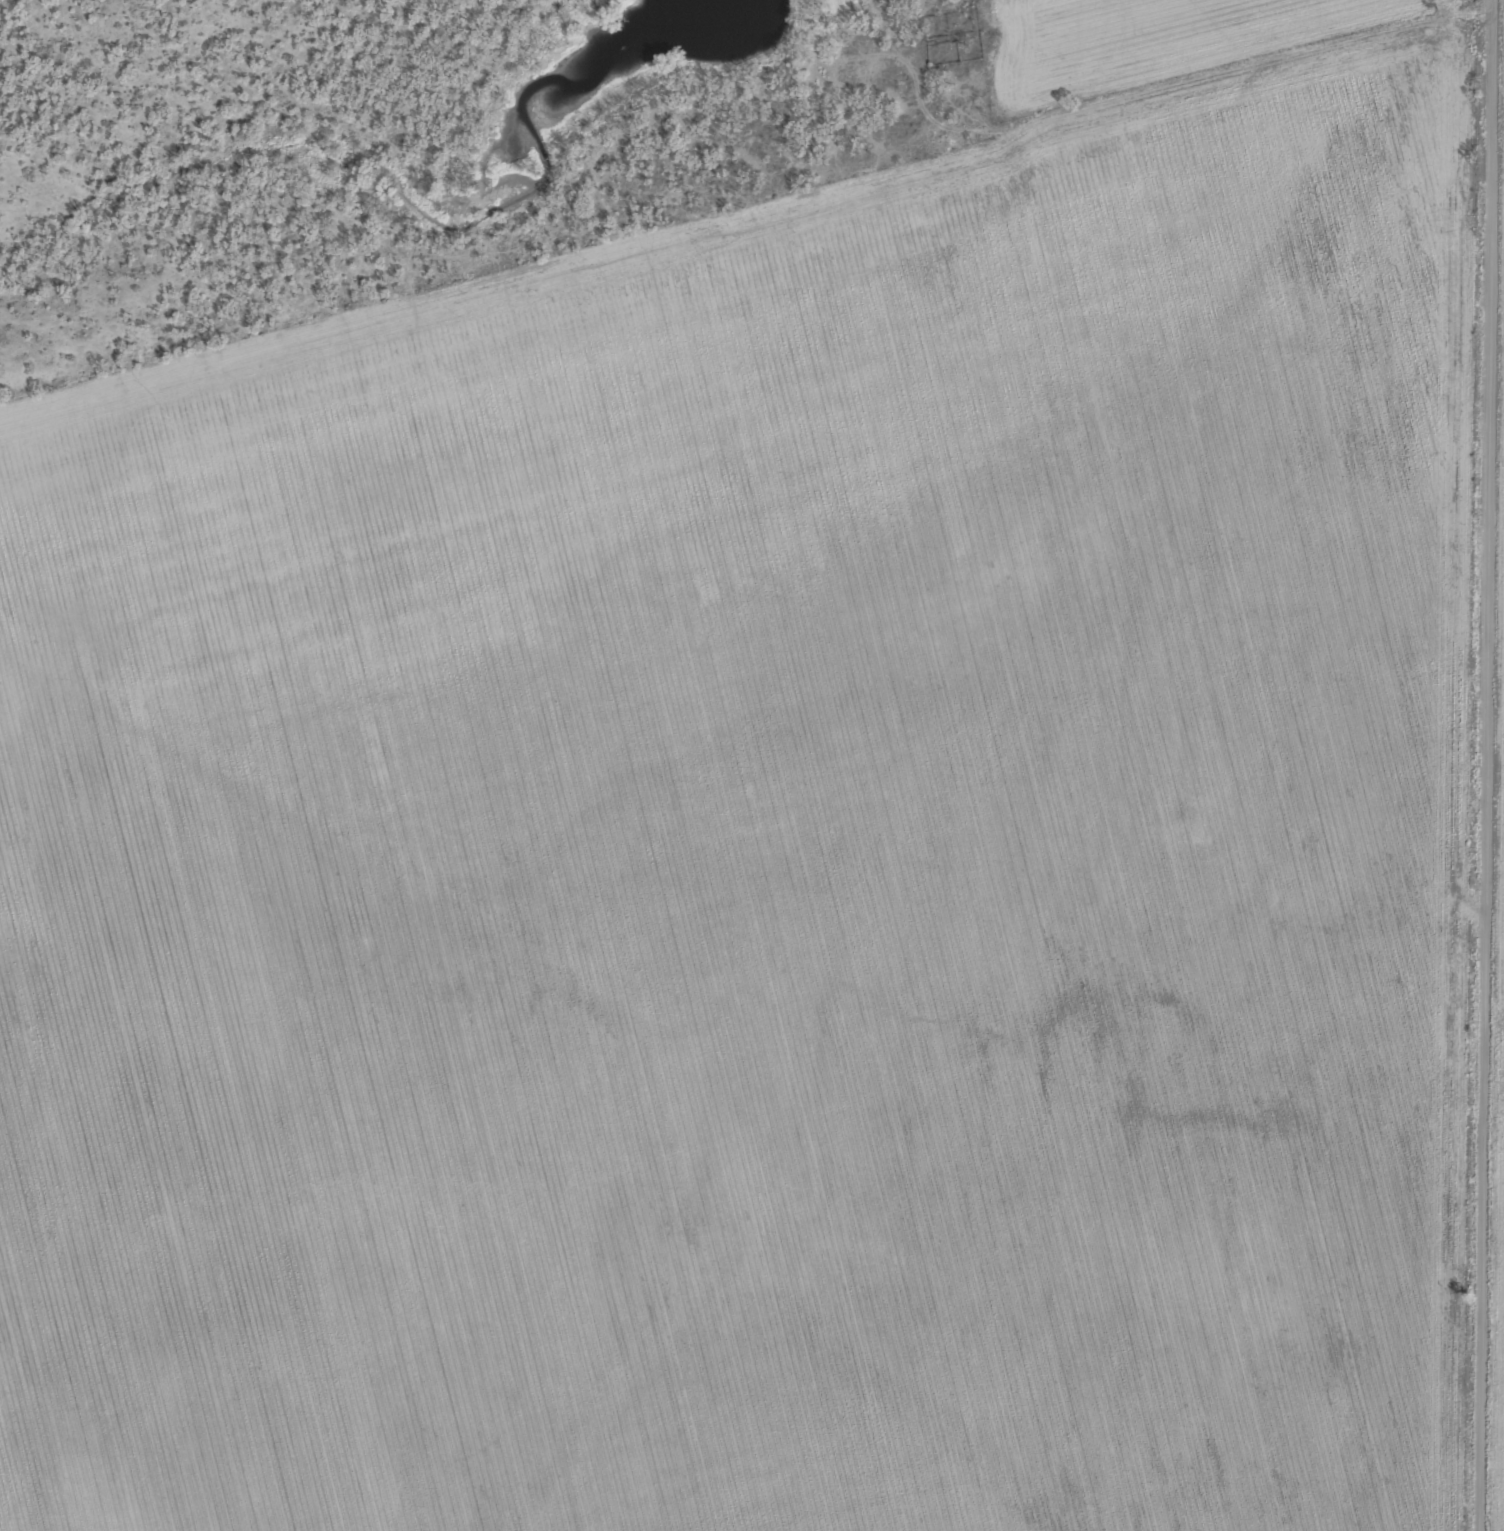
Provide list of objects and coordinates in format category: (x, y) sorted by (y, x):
road: (1483, 765)

